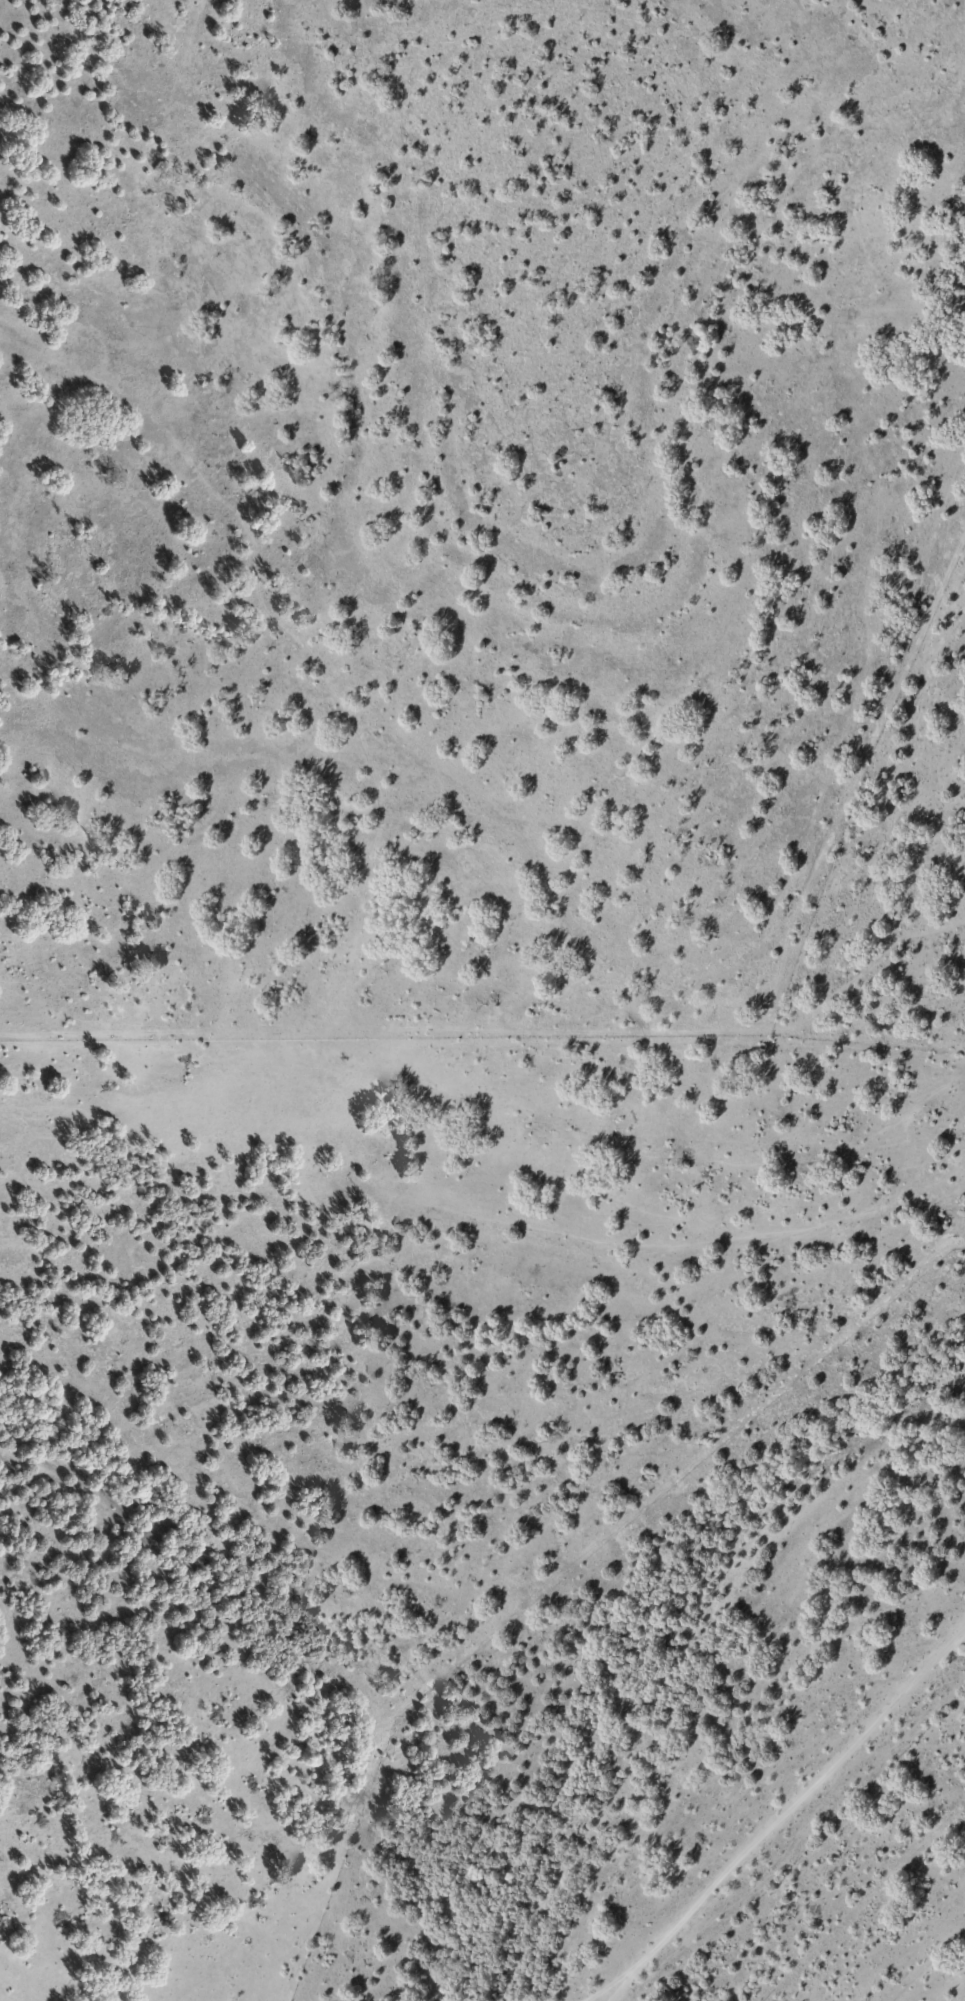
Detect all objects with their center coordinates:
road: (788, 1806)

